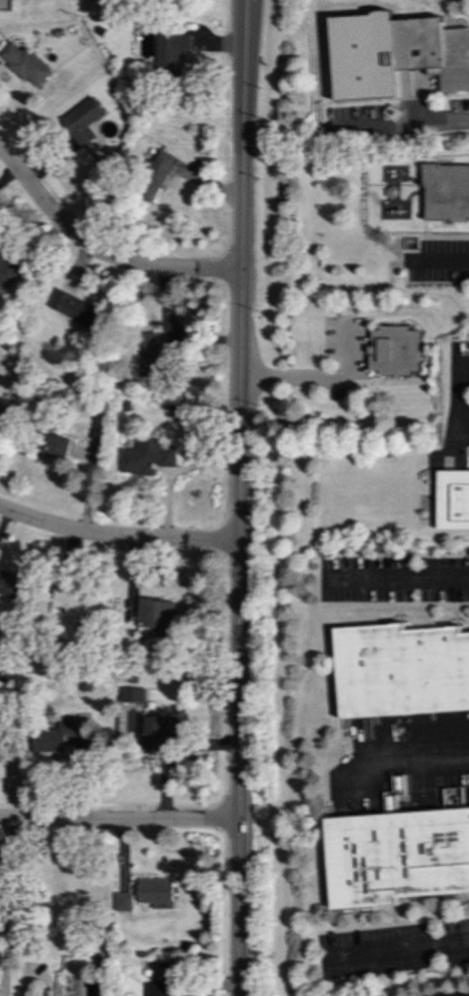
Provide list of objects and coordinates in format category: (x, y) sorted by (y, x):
building: (171, 51)
building: (395, 54)
building: (25, 64)
building: (82, 122)
road: (434, 124)
building: (156, 175)
building: (446, 193)
road: (99, 253)
road: (443, 264)
building: (78, 310)
building: (393, 351)
building: (150, 356)
road: (319, 378)
road: (459, 404)
building: (56, 446)
building: (147, 457)
road: (241, 497)
building: (453, 499)
road: (118, 538)
road: (410, 578)
building: (9, 584)
building: (77, 604)
building: (158, 617)
building: (402, 670)
building: (133, 695)
building: (157, 731)
road: (416, 764)
road: (119, 822)
building: (397, 856)
building: (146, 895)
road: (5, 908)
road: (399, 948)
building: (158, 989)

